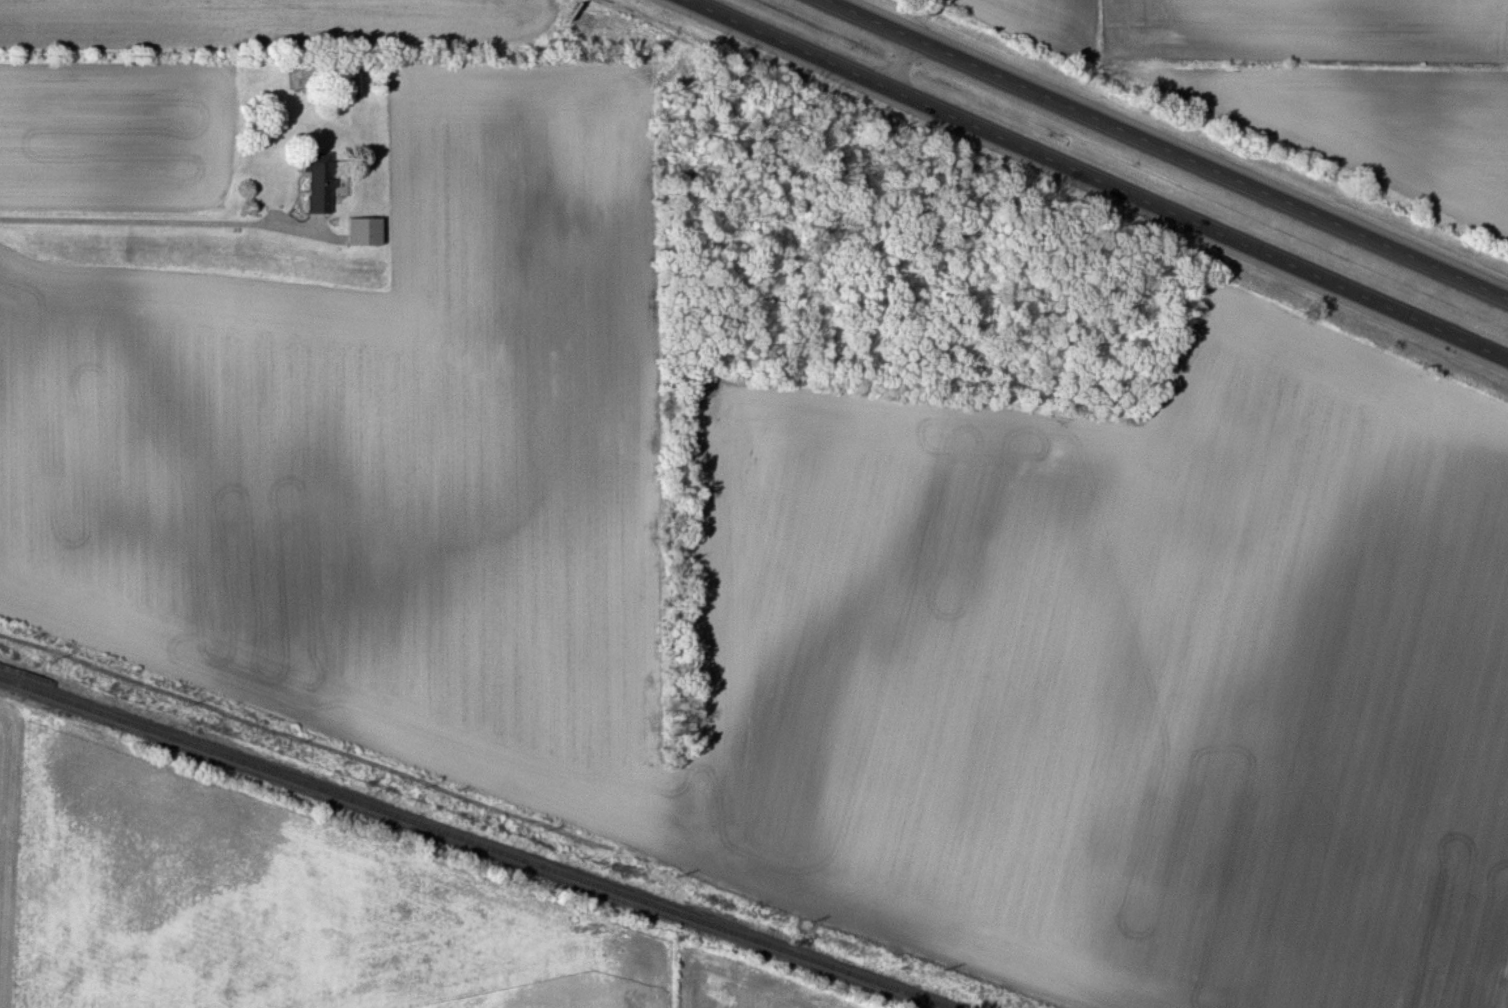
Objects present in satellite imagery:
road: (903, 65)
road: (1166, 148)
road: (1096, 179)
road: (151, 218)
railway: (469, 845)

